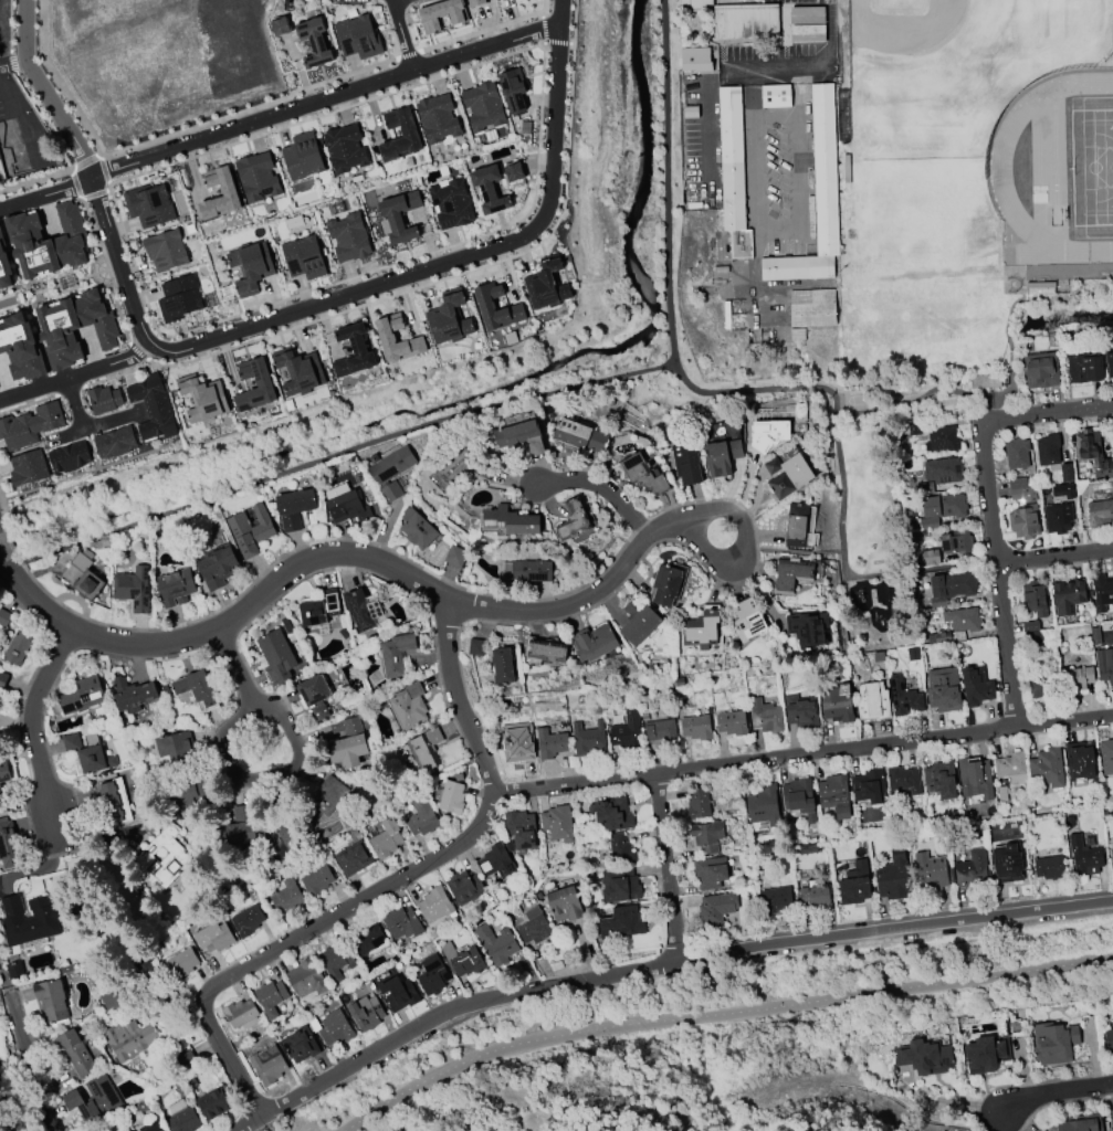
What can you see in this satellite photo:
parking lot: (769, 0)
building: (480, 2)
building: (694, 3)
building: (443, 14)
road: (542, 14)
building: (746, 20)
road: (805, 22)
road: (10, 24)
building: (807, 24)
building: (279, 25)
road: (485, 29)
road: (543, 30)
road: (402, 33)
building: (357, 38)
building: (313, 41)
road: (556, 43)
road: (571, 43)
road: (543, 44)
road: (826, 44)
road: (407, 53)
building: (695, 57)
road: (11, 59)
road: (12, 62)
park: (956, 65)
road: (777, 66)
building: (512, 89)
building: (776, 94)
road: (326, 96)
building: (482, 106)
road: (706, 112)
building: (437, 117)
road: (46, 118)
road: (14, 119)
parking lot: (765, 127)
building: (408, 133)
road: (166, 136)
building: (344, 148)
building: (301, 156)
road: (85, 163)
track: (1000, 165)
park: (1092, 167)
road: (102, 169)
building: (733, 170)
building: (2, 172)
building: (513, 172)
road: (536, 175)
building: (256, 177)
road: (35, 180)
road: (76, 183)
road: (107, 183)
road: (107, 188)
building: (489, 189)
road: (46, 190)
building: (227, 191)
road: (93, 194)
building: (817, 197)
building: (148, 204)
building: (451, 204)
building: (399, 215)
road: (781, 229)
building: (348, 237)
building: (44, 241)
building: (165, 250)
building: (303, 258)
building: (3, 265)
building: (249, 266)
road: (108, 268)
road: (461, 269)
building: (546, 284)
building: (178, 298)
building: (812, 305)
building: (485, 306)
road: (276, 316)
building: (448, 318)
building: (73, 328)
building: (385, 337)
building: (21, 347)
road: (137, 349)
building: (351, 352)
building: (1109, 360)
road: (674, 364)
building: (1082, 367)
building: (1040, 370)
road: (76, 371)
building: (297, 371)
road: (118, 372)
road: (1010, 380)
building: (985, 381)
building: (262, 384)
road: (70, 390)
building: (146, 391)
building: (103, 399)
building: (201, 399)
road: (28, 403)
road: (1051, 409)
building: (46, 417)
building: (519, 419)
road: (86, 422)
building: (157, 423)
road: (70, 429)
building: (17, 432)
building: (768, 434)
building: (580, 436)
building: (521, 437)
building: (942, 440)
building: (114, 443)
road: (344, 447)
building: (1048, 450)
building: (1092, 452)
building: (1016, 454)
building: (720, 456)
building: (67, 457)
building: (684, 463)
building: (391, 466)
building: (455, 466)
building: (27, 468)
building: (942, 471)
building: (1065, 473)
building: (786, 474)
building: (641, 475)
building: (1017, 483)
road: (601, 490)
park: (885, 490)
building: (390, 491)
building: (1070, 491)
building: (1022, 494)
building: (943, 506)
building: (347, 507)
building: (293, 508)
road: (4, 509)
building: (1099, 512)
building: (1058, 518)
building: (573, 519)
building: (508, 521)
building: (1023, 521)
building: (797, 527)
building: (417, 529)
building: (250, 530)
road: (10, 539)
road: (314, 539)
building: (956, 541)
road: (753, 549)
road: (787, 550)
road: (647, 551)
road: (1, 554)
building: (454, 556)
road: (1054, 556)
building: (930, 558)
building: (217, 567)
road: (848, 570)
road: (996, 570)
building: (529, 571)
building: (789, 574)
building: (86, 577)
building: (666, 583)
building: (952, 585)
building: (174, 586)
building: (132, 589)
road: (433, 590)
building: (1102, 592)
building: (1068, 595)
building: (1036, 598)
building: (318, 609)
building: (363, 609)
building: (4, 617)
building: (962, 619)
building: (747, 620)
building: (637, 622)
building: (703, 626)
building: (808, 627)
building: (591, 642)
building: (476, 647)
building: (17, 649)
building: (544, 649)
building: (396, 653)
building: (276, 655)
building: (1104, 665)
building: (500, 666)
road: (33, 672)
building: (1077, 678)
building: (2, 680)
building: (1043, 686)
building: (195, 687)
building: (976, 687)
building: (313, 689)
building: (943, 690)
building: (133, 693)
building: (78, 696)
building: (904, 697)
building: (872, 701)
building: (837, 704)
building: (408, 706)
building: (800, 711)
building: (765, 716)
road: (29, 721)
building: (732, 722)
building: (696, 727)
building: (660, 731)
building: (626, 732)
building: (586, 739)
building: (71, 741)
building: (345, 743)
building: (549, 743)
building: (515, 744)
building: (175, 747)
building: (423, 750)
road: (802, 754)
building: (1106, 757)
building: (94, 759)
building: (1079, 761)
building: (1011, 768)
building: (1047, 768)
building: (3, 772)
building: (974, 776)
building: (941, 780)
building: (902, 781)
road: (231, 782)
building: (869, 786)
building: (327, 795)
building: (834, 795)
building: (451, 797)
building: (799, 799)
building: (111, 802)
building: (697, 804)
building: (763, 805)
building: (611, 814)
building: (421, 817)
building: (557, 823)
building: (521, 829)
building: (237, 834)
building: (706, 836)
building: (385, 838)
building: (7, 844)
building: (620, 849)
road: (67, 850)
building: (1084, 856)
building: (1111, 856)
building: (353, 859)
building: (161, 860)
building: (496, 862)
building: (1006, 864)
road: (666, 866)
building: (1049, 867)
building: (972, 871)
building: (710, 873)
building: (931, 873)
building: (892, 876)
building: (316, 881)
road: (386, 885)
building: (855, 885)
building: (619, 886)
building: (464, 887)
building: (285, 897)
building: (816, 897)
building: (775, 900)
building: (564, 905)
building: (434, 907)
building: (715, 909)
building: (29, 920)
building: (245, 921)
building: (401, 923)
building: (621, 923)
building: (534, 927)
building: (217, 939)
building: (370, 939)
building: (496, 944)
building: (449, 950)
building: (336, 961)
building: (468, 963)
road: (658, 963)
building: (180, 964)
building: (432, 975)
building: (305, 979)
building: (398, 993)
building: (270, 997)
building: (114, 1000)
building: (51, 1001)
building: (366, 1013)
building: (241, 1014)
road: (717, 1014)
building: (335, 1028)
building: (129, 1039)
building: (1109, 1040)
building: (1053, 1043)
building: (300, 1044)
road: (23, 1046)
building: (74, 1051)
building: (986, 1054)
building: (924, 1057)
building: (267, 1066)
road: (1028, 1082)
road: (1054, 1095)
building: (94, 1099)
building: (213, 1102)
road: (1060, 1102)
road: (4, 1110)
building: (181, 1118)
road: (266, 1122)
building: (1081, 1123)
building: (153, 1125)

